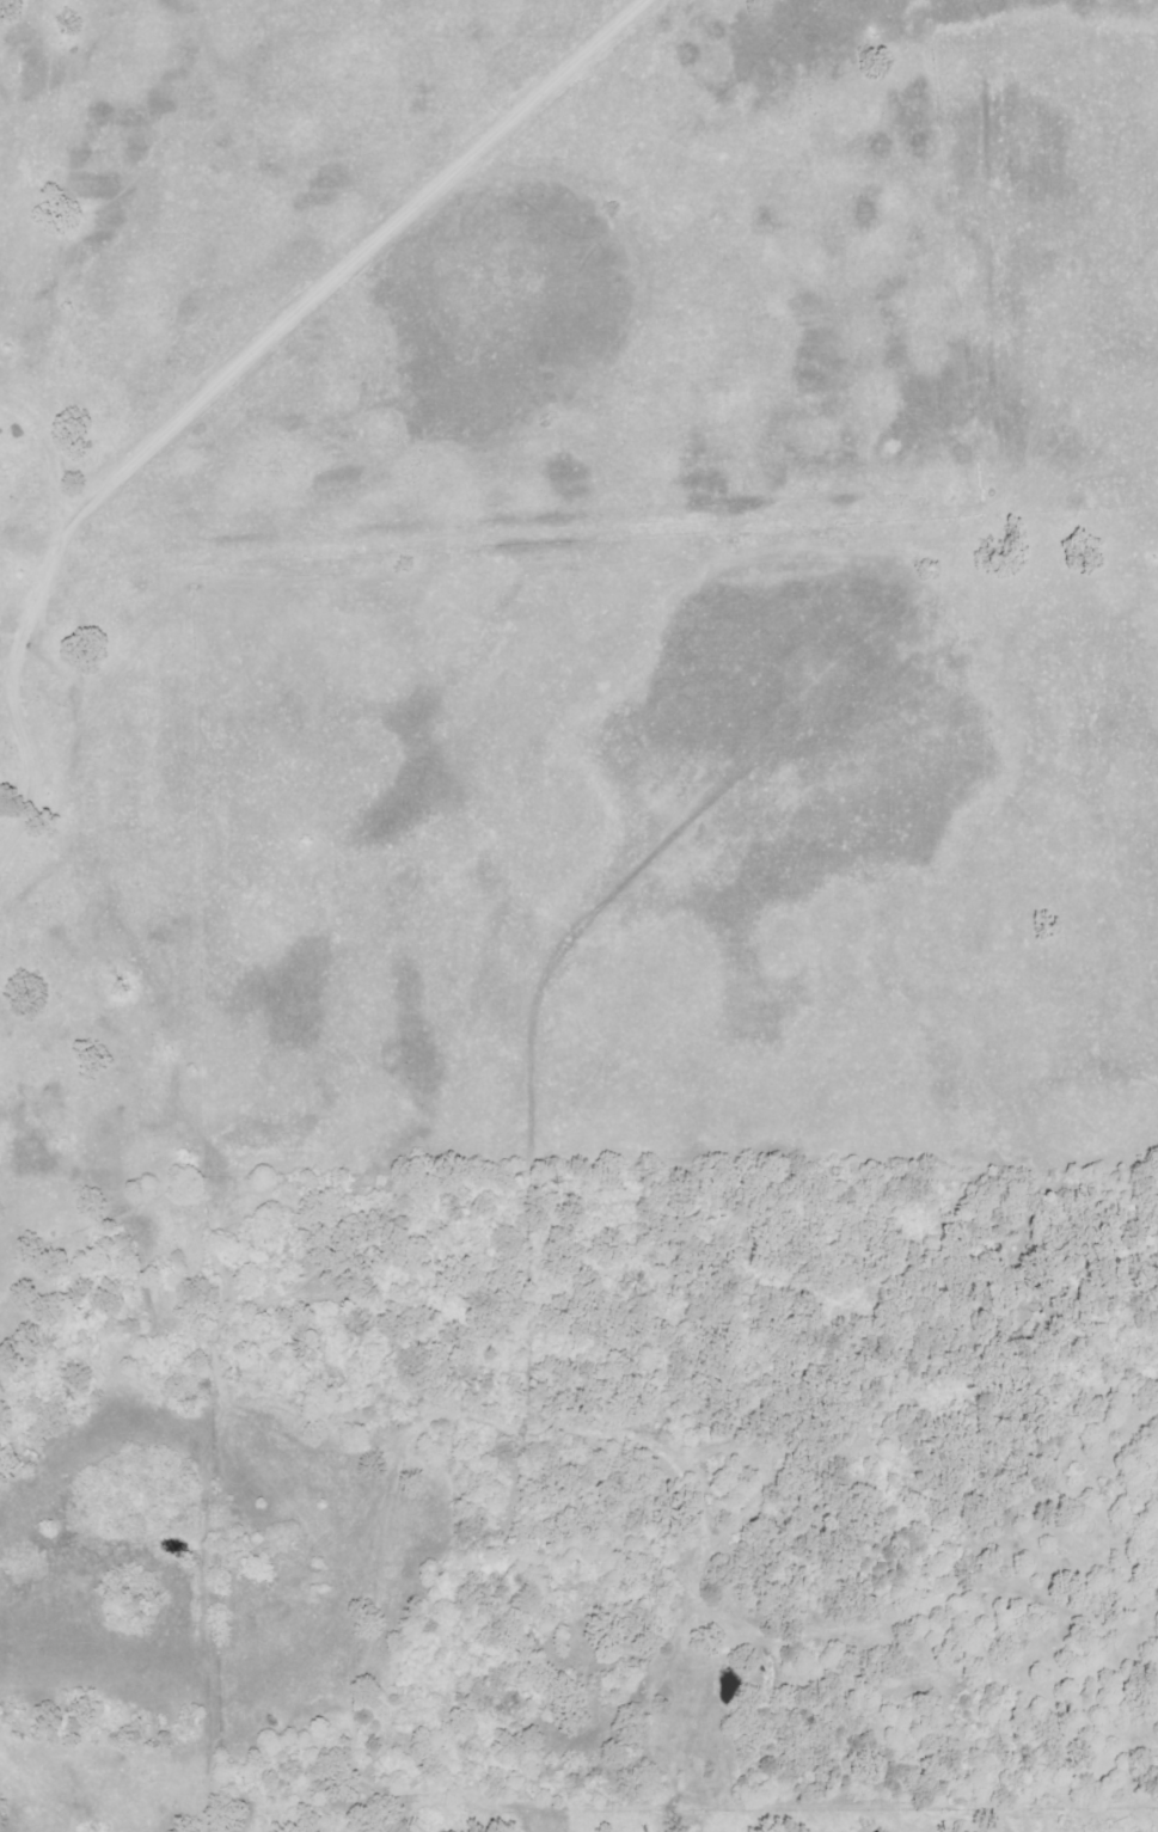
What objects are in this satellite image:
road: (29, 593)
road: (264, 748)
road: (388, 1362)

